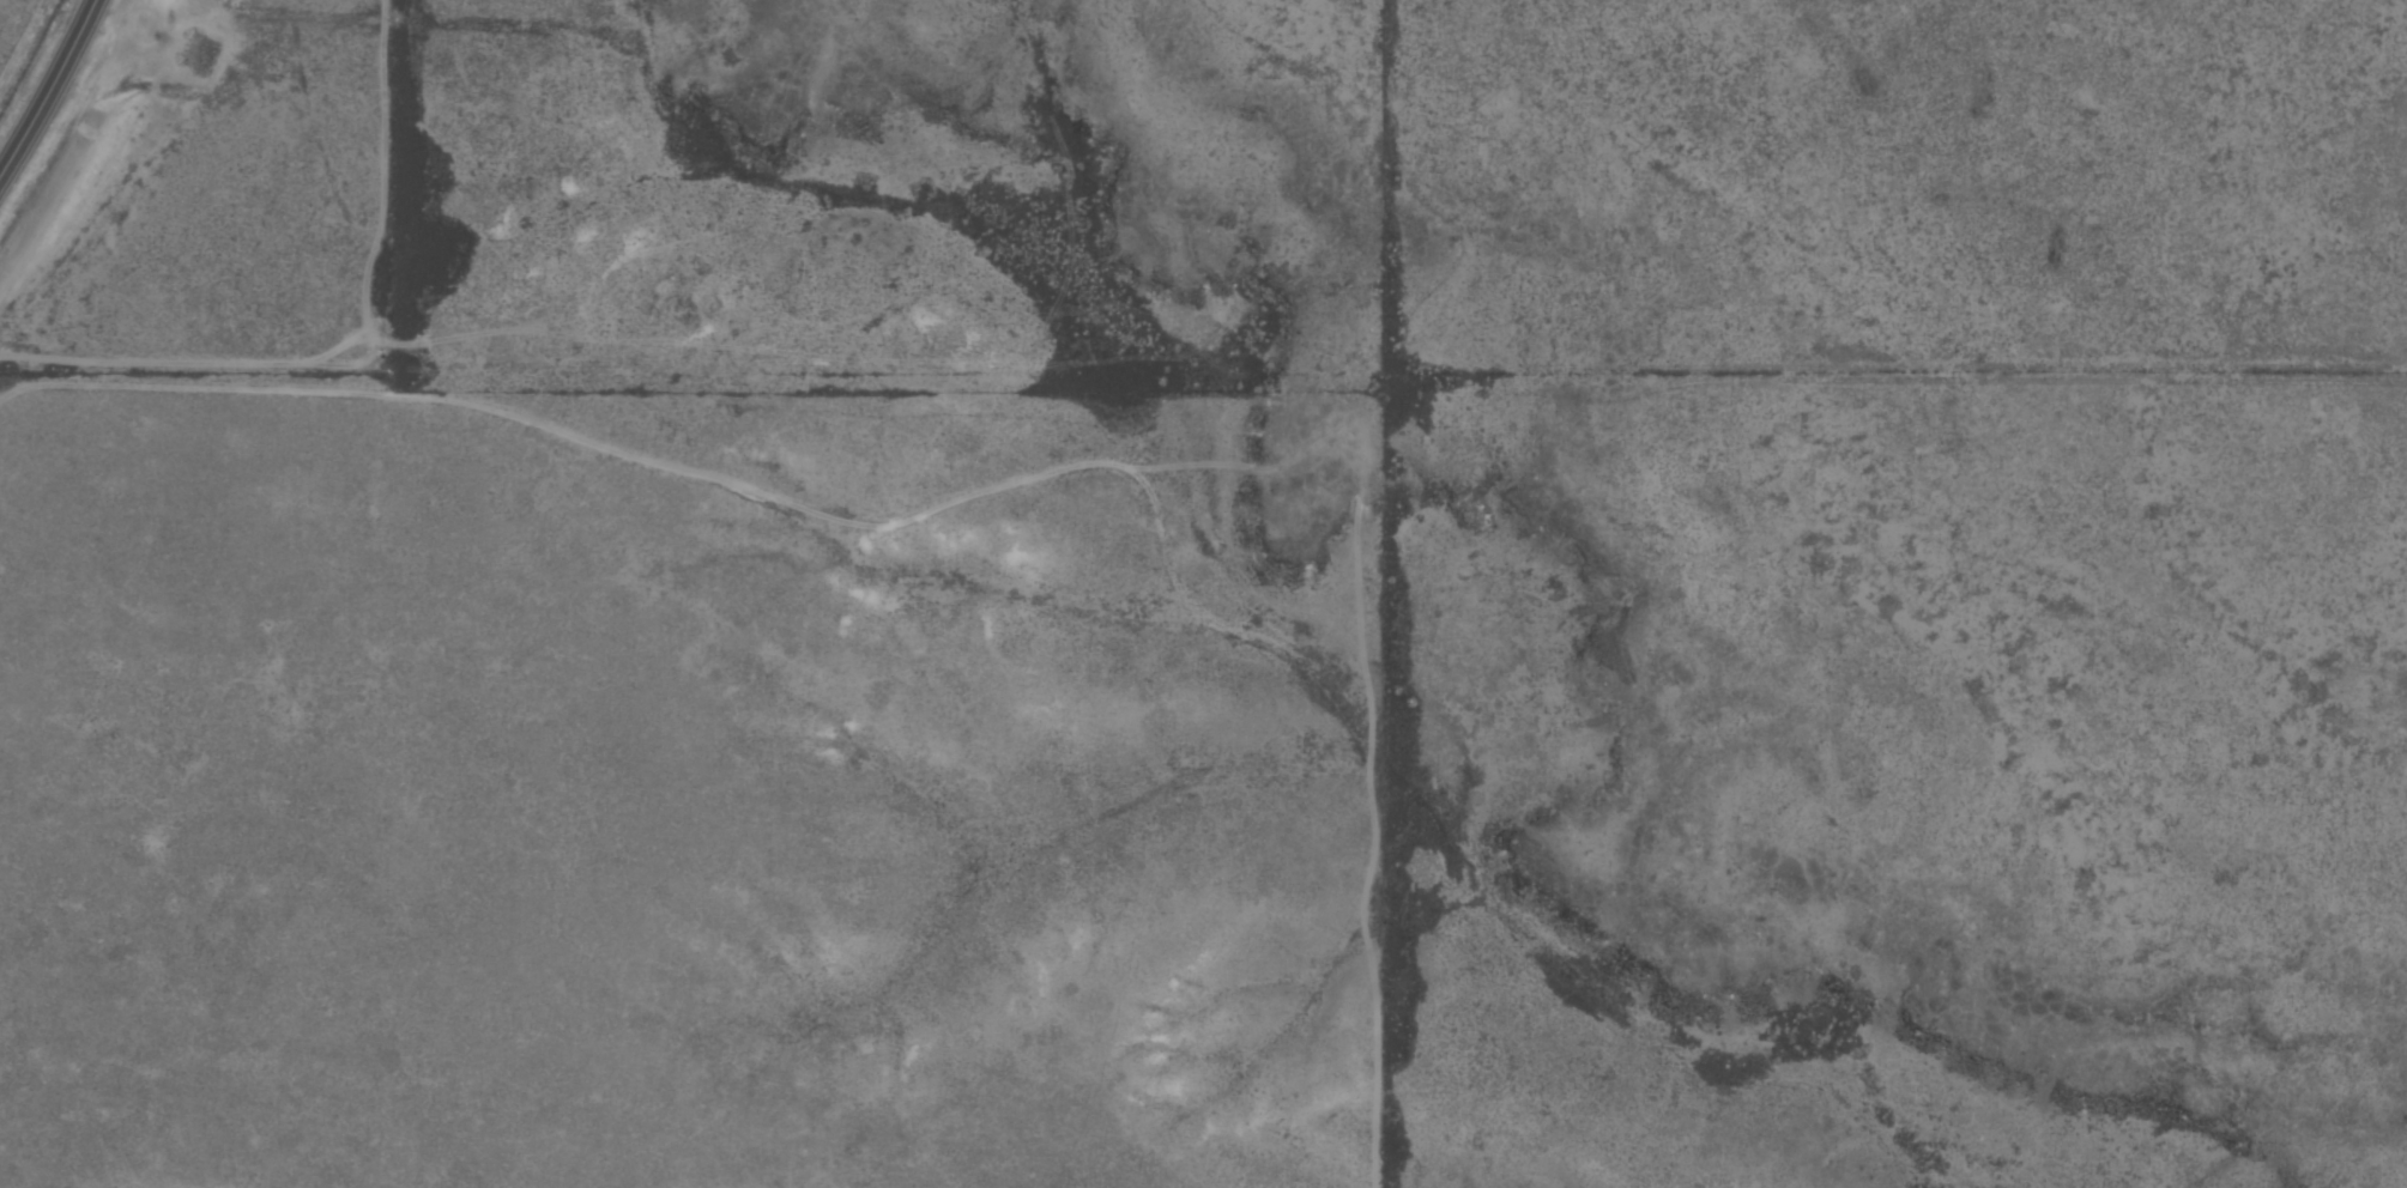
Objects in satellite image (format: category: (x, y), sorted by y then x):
airport: (18, 32)
road: (40, 71)

